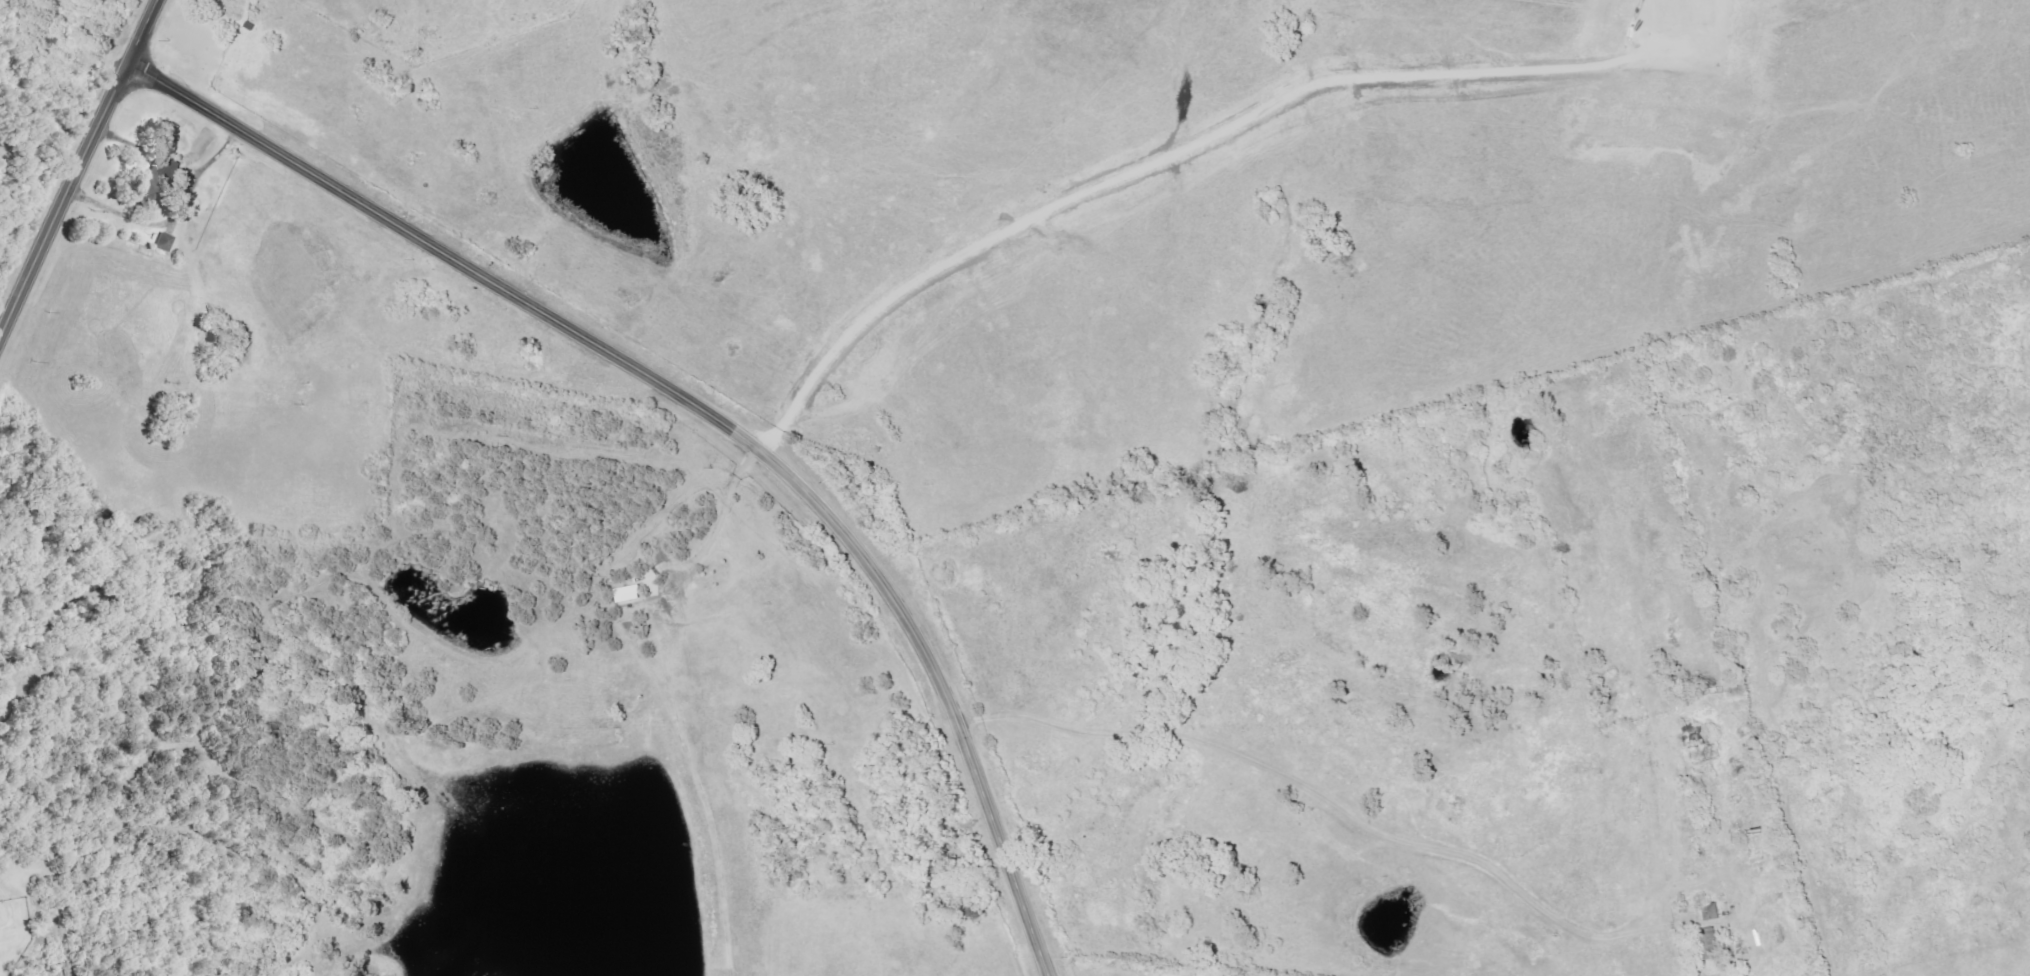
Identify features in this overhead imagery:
road: (80, 171)
building: (165, 241)
road: (707, 412)
road: (1328, 800)
building: (1709, 911)
building: (1707, 942)

